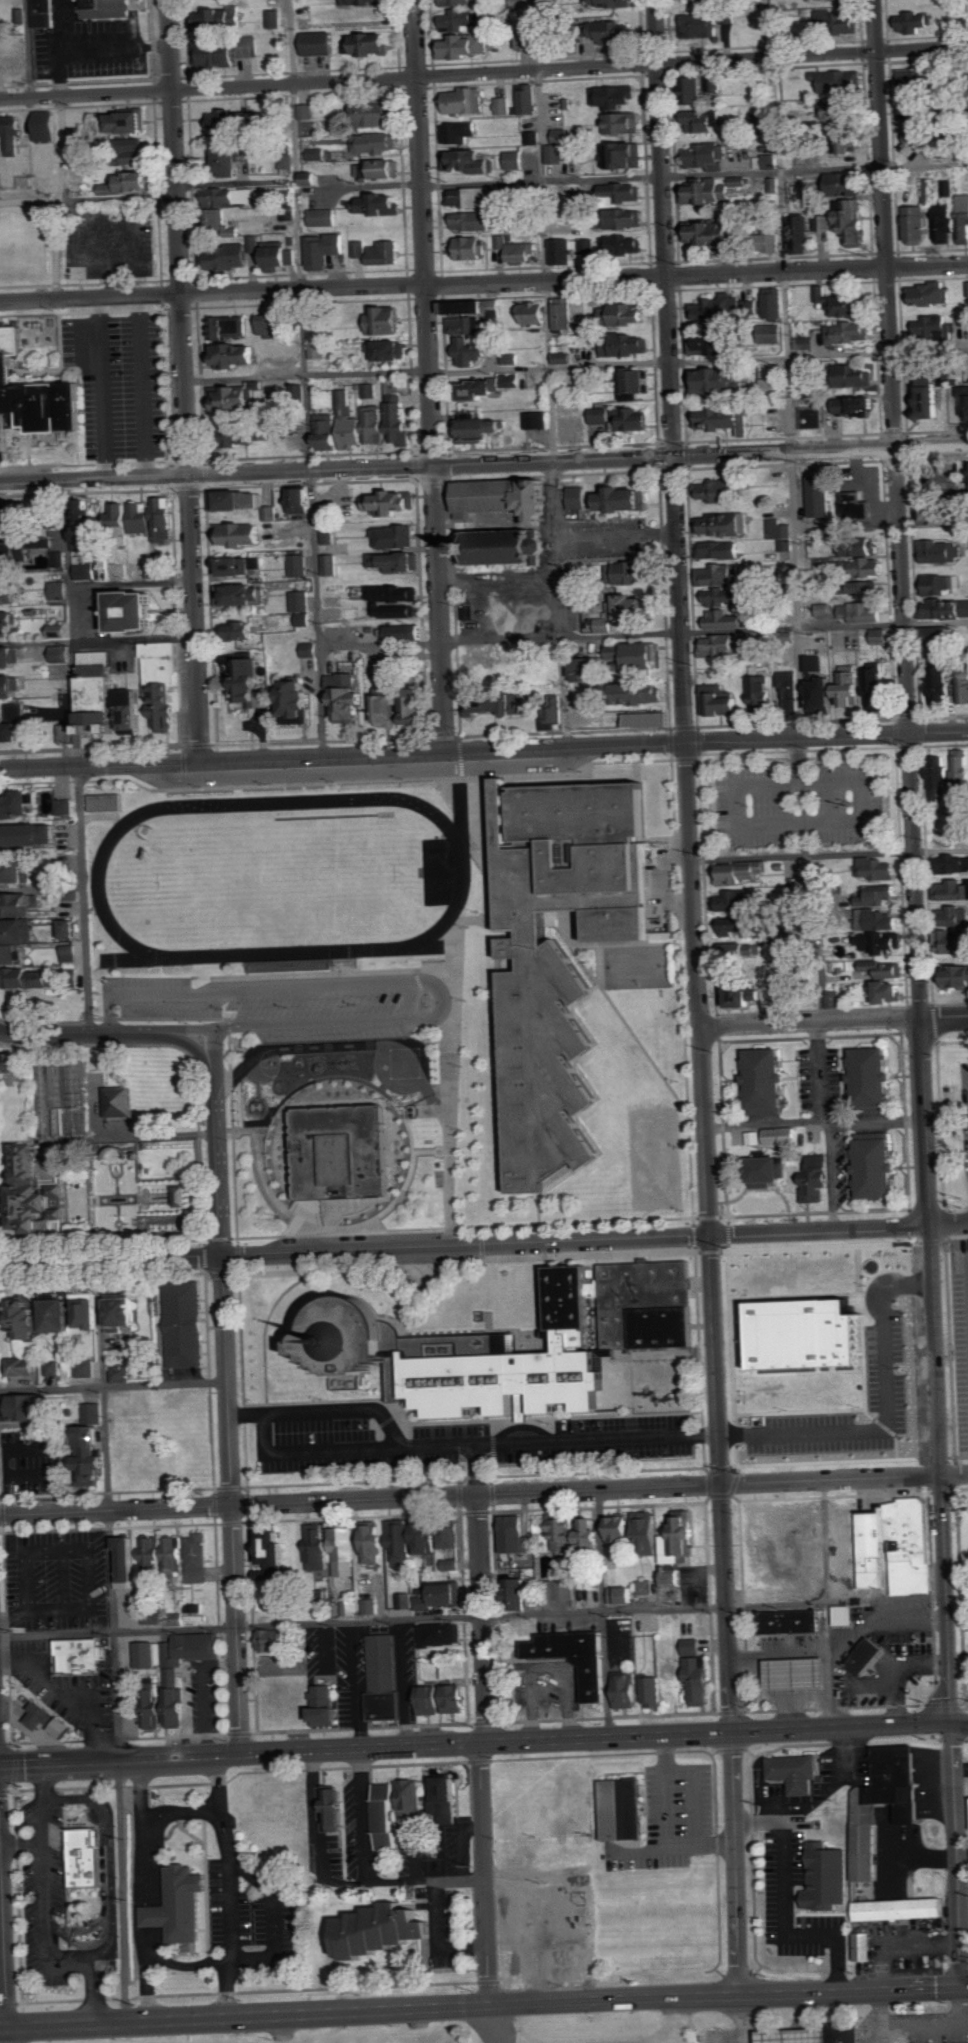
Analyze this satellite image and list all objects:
building: (367, 2)
building: (459, 2)
building: (609, 3)
building: (552, 4)
building: (107, 8)
building: (45, 13)
building: (20, 17)
building: (275, 18)
building: (211, 19)
building: (463, 20)
building: (917, 21)
building: (837, 22)
building: (729, 24)
building: (702, 25)
building: (621, 30)
building: (530, 40)
building: (321, 43)
building: (370, 43)
building: (463, 47)
road: (27, 49)
road: (922, 49)
building: (228, 51)
road: (438, 75)
building: (917, 77)
building: (844, 81)
building: (717, 85)
building: (695, 90)
building: (616, 96)
building: (530, 99)
building: (466, 101)
building: (503, 106)
building: (840, 110)
building: (916, 111)
building: (378, 113)
building: (228, 120)
building: (703, 121)
building: (131, 122)
building: (624, 123)
building: (47, 126)
building: (79, 132)
building: (460, 132)
building: (13, 134)
building: (562, 136)
building: (533, 137)
building: (849, 141)
building: (377, 142)
building: (137, 151)
building: (318, 154)
building: (555, 154)
building: (627, 155)
building: (708, 155)
building: (232, 159)
building: (515, 160)
building: (288, 161)
building: (470, 161)
building: (768, 161)
building: (379, 169)
road: (695, 174)
building: (133, 183)
building: (849, 184)
road: (237, 185)
road: (359, 185)
building: (948, 188)
building: (710, 190)
building: (626, 192)
road: (60, 197)
building: (232, 197)
building: (473, 197)
road: (89, 198)
building: (381, 204)
building: (271, 213)
building: (325, 217)
building: (964, 217)
building: (627, 218)
building: (218, 219)
building: (475, 221)
building: (853, 221)
building: (823, 222)
building: (918, 223)
road: (885, 224)
building: (949, 227)
road: (665, 228)
building: (713, 235)
building: (802, 235)
parking lot: (110, 240)
building: (773, 240)
building: (256, 244)
building: (588, 245)
building: (623, 245)
building: (472, 248)
building: (360, 249)
building: (520, 249)
building: (325, 250)
building: (564, 252)
building: (386, 253)
building: (278, 255)
building: (231, 257)
road: (484, 283)
building: (931, 294)
building: (846, 303)
building: (753, 305)
building: (776, 306)
building: (471, 307)
building: (720, 307)
building: (535, 313)
building: (565, 313)
building: (625, 314)
road: (141, 315)
building: (388, 322)
building: (270, 324)
building: (470, 325)
building: (228, 327)
building: (933, 327)
building: (850, 332)
building: (717, 341)
building: (810, 344)
building: (627, 345)
building: (319, 350)
building: (389, 350)
building: (471, 351)
building: (237, 355)
building: (565, 355)
building: (512, 358)
road: (576, 364)
road: (550, 374)
road: (431, 375)
building: (856, 376)
road: (305, 378)
building: (724, 379)
road: (185, 381)
building: (636, 382)
building: (487, 386)
building: (774, 386)
road: (106, 387)
parking lot: (116, 387)
building: (963, 391)
building: (297, 394)
building: (934, 397)
building: (26, 399)
building: (234, 399)
building: (858, 405)
road: (144, 406)
building: (811, 417)
building: (624, 418)
building: (729, 419)
building: (538, 420)
building: (399, 421)
building: (343, 426)
building: (376, 426)
building: (249, 428)
building: (487, 428)
building: (243, 436)
road: (932, 446)
road: (785, 452)
road: (337, 470)
building: (941, 481)
building: (725, 492)
building: (821, 495)
building: (510, 496)
building: (579, 497)
building: (626, 499)
building: (239, 501)
building: (303, 501)
building: (389, 503)
building: (855, 506)
building: (271, 513)
building: (945, 516)
building: (148, 518)
building: (725, 523)
building: (6, 524)
building: (88, 531)
building: (331, 534)
building: (243, 535)
building: (397, 537)
building: (782, 538)
building: (855, 547)
building: (720, 550)
building: (941, 551)
building: (13, 553)
building: (60, 559)
building: (396, 562)
building: (300, 565)
building: (332, 565)
building: (244, 567)
building: (871, 567)
building: (88, 571)
building: (629, 573)
building: (722, 575)
building: (943, 585)
building: (871, 590)
building: (60, 591)
building: (395, 593)
building: (10, 595)
building: (243, 595)
building: (725, 597)
building: (302, 602)
building: (948, 609)
building: (137, 610)
building: (627, 610)
building: (824, 610)
building: (394, 611)
building: (862, 612)
road: (797, 617)
building: (726, 620)
building: (10, 625)
building: (244, 630)
building: (407, 633)
road: (644, 634)
building: (881, 636)
building: (942, 636)
road: (97, 638)
building: (723, 646)
building: (63, 654)
building: (638, 655)
building: (10, 657)
building: (814, 663)
building: (383, 667)
building: (588, 670)
building: (248, 681)
building: (164, 684)
building: (943, 685)
building: (863, 686)
building: (12, 687)
building: (790, 689)
building: (762, 693)
building: (645, 694)
building: (348, 696)
building: (827, 696)
building: (110, 698)
building: (722, 701)
building: (298, 703)
building: (493, 703)
building: (386, 705)
building: (413, 708)
building: (556, 709)
building: (650, 720)
building: (14, 724)
road: (908, 733)
road: (685, 743)
road: (483, 750)
road: (76, 758)
road: (373, 769)
building: (951, 778)
parking lot: (799, 800)
building: (108, 803)
building: (18, 806)
building: (66, 808)
building: (961, 824)
building: (30, 836)
road: (829, 854)
building: (955, 864)
building: (877, 869)
building: (16, 874)
park: (280, 874)
building: (738, 874)
track: (463, 878)
road: (660, 878)
building: (955, 890)
building: (881, 895)
building: (734, 900)
building: (20, 905)
building: (957, 916)
building: (878, 920)
building: (72, 929)
building: (16, 941)
building: (954, 942)
building: (881, 943)
building: (743, 949)
building: (71, 953)
building: (556, 957)
park: (637, 965)
building: (957, 977)
building: (28, 978)
road: (396, 981)
building: (889, 992)
building: (740, 995)
parking lot: (288, 1003)
road: (834, 1022)
road: (104, 1035)
road: (342, 1046)
building: (13, 1061)
road: (446, 1065)
building: (870, 1080)
building: (764, 1082)
building: (117, 1101)
parking lot: (965, 1115)
road: (814, 1121)
road: (924, 1123)
road: (941, 1125)
road: (705, 1131)
building: (754, 1137)
building: (337, 1150)
road: (217, 1153)
building: (874, 1165)
building: (770, 1169)
building: (819, 1176)
road: (451, 1181)
building: (29, 1192)
building: (188, 1195)
building: (181, 1196)
road: (948, 1226)
road: (819, 1231)
road: (957, 1235)
road: (354, 1249)
building: (126, 1310)
building: (91, 1312)
building: (60, 1314)
building: (28, 1319)
building: (187, 1323)
building: (807, 1333)
building: (350, 1345)
building: (548, 1345)
building: (27, 1365)
building: (56, 1367)
building: (87, 1368)
building: (122, 1373)
road: (113, 1385)
building: (144, 1402)
building: (124, 1404)
building: (29, 1408)
parking lot: (960, 1408)
road: (888, 1423)
parking lot: (452, 1440)
road: (463, 1446)
building: (94, 1447)
road: (312, 1449)
road: (478, 1471)
road: (954, 1471)
road: (954, 1474)
road: (941, 1475)
road: (720, 1484)
road: (470, 1495)
road: (231, 1504)
building: (635, 1529)
building: (517, 1534)
building: (577, 1534)
building: (451, 1535)
building: (399, 1539)
building: (681, 1541)
building: (895, 1545)
building: (345, 1551)
building: (176, 1552)
building: (273, 1552)
building: (199, 1557)
building: (130, 1560)
building: (153, 1560)
building: (646, 1586)
building: (520, 1589)
building: (567, 1589)
building: (760, 1593)
building: (623, 1594)
building: (441, 1595)
building: (405, 1600)
road: (825, 1603)
road: (472, 1613)
road: (602, 1614)
building: (153, 1616)
building: (845, 1616)
road: (483, 1618)
building: (440, 1634)
building: (273, 1639)
road: (113, 1641)
building: (693, 1645)
building: (791, 1650)
gas station: (791, 1650)
building: (78, 1656)
building: (862, 1656)
building: (573, 1657)
building: (172, 1671)
building: (385, 1678)
building: (701, 1679)
parking lot: (65, 1687)
building: (628, 1690)
building: (654, 1691)
building: (326, 1695)
building: (444, 1699)
building: (331, 1715)
building: (41, 1716)
traffic signals: (951, 1723)
road: (959, 1723)
building: (64, 1728)
road: (841, 1728)
road: (608, 1737)
road: (242, 1753)
road: (848, 1753)
road: (930, 1753)
road: (960, 1769)
building: (792, 1772)
building: (453, 1788)
road: (694, 1795)
building: (881, 1799)
building: (401, 1803)
building: (329, 1808)
road: (313, 1809)
building: (619, 1809)
road: (180, 1811)
parking lot: (673, 1821)
road: (669, 1822)
road: (0, 1848)
road: (641, 1850)
road: (110, 1852)
building: (84, 1855)
road: (957, 1855)
road: (920, 1858)
road: (963, 1858)
road: (735, 1864)
road: (485, 1873)
road: (365, 1875)
building: (824, 1876)
road: (231, 1886)
road: (136, 1890)
parking lot: (780, 1900)
building: (177, 1903)
road: (785, 1908)
building: (897, 1909)
road: (152, 1911)
road: (47, 1916)
road: (272, 1919)
building: (375, 1928)
road: (4, 1935)
road: (436, 1938)
road: (913, 1942)
road: (2, 1944)
building: (861, 1945)
road: (189, 1964)
traffic signals: (964, 1988)
road: (729, 1996)
road: (965, 2004)
road: (742, 2006)
road: (245, 2017)
road: (908, 2022)
road: (420, 2025)
road: (282, 2027)
building: (848, 2033)
building: (777, 2037)
road: (289, 2041)

